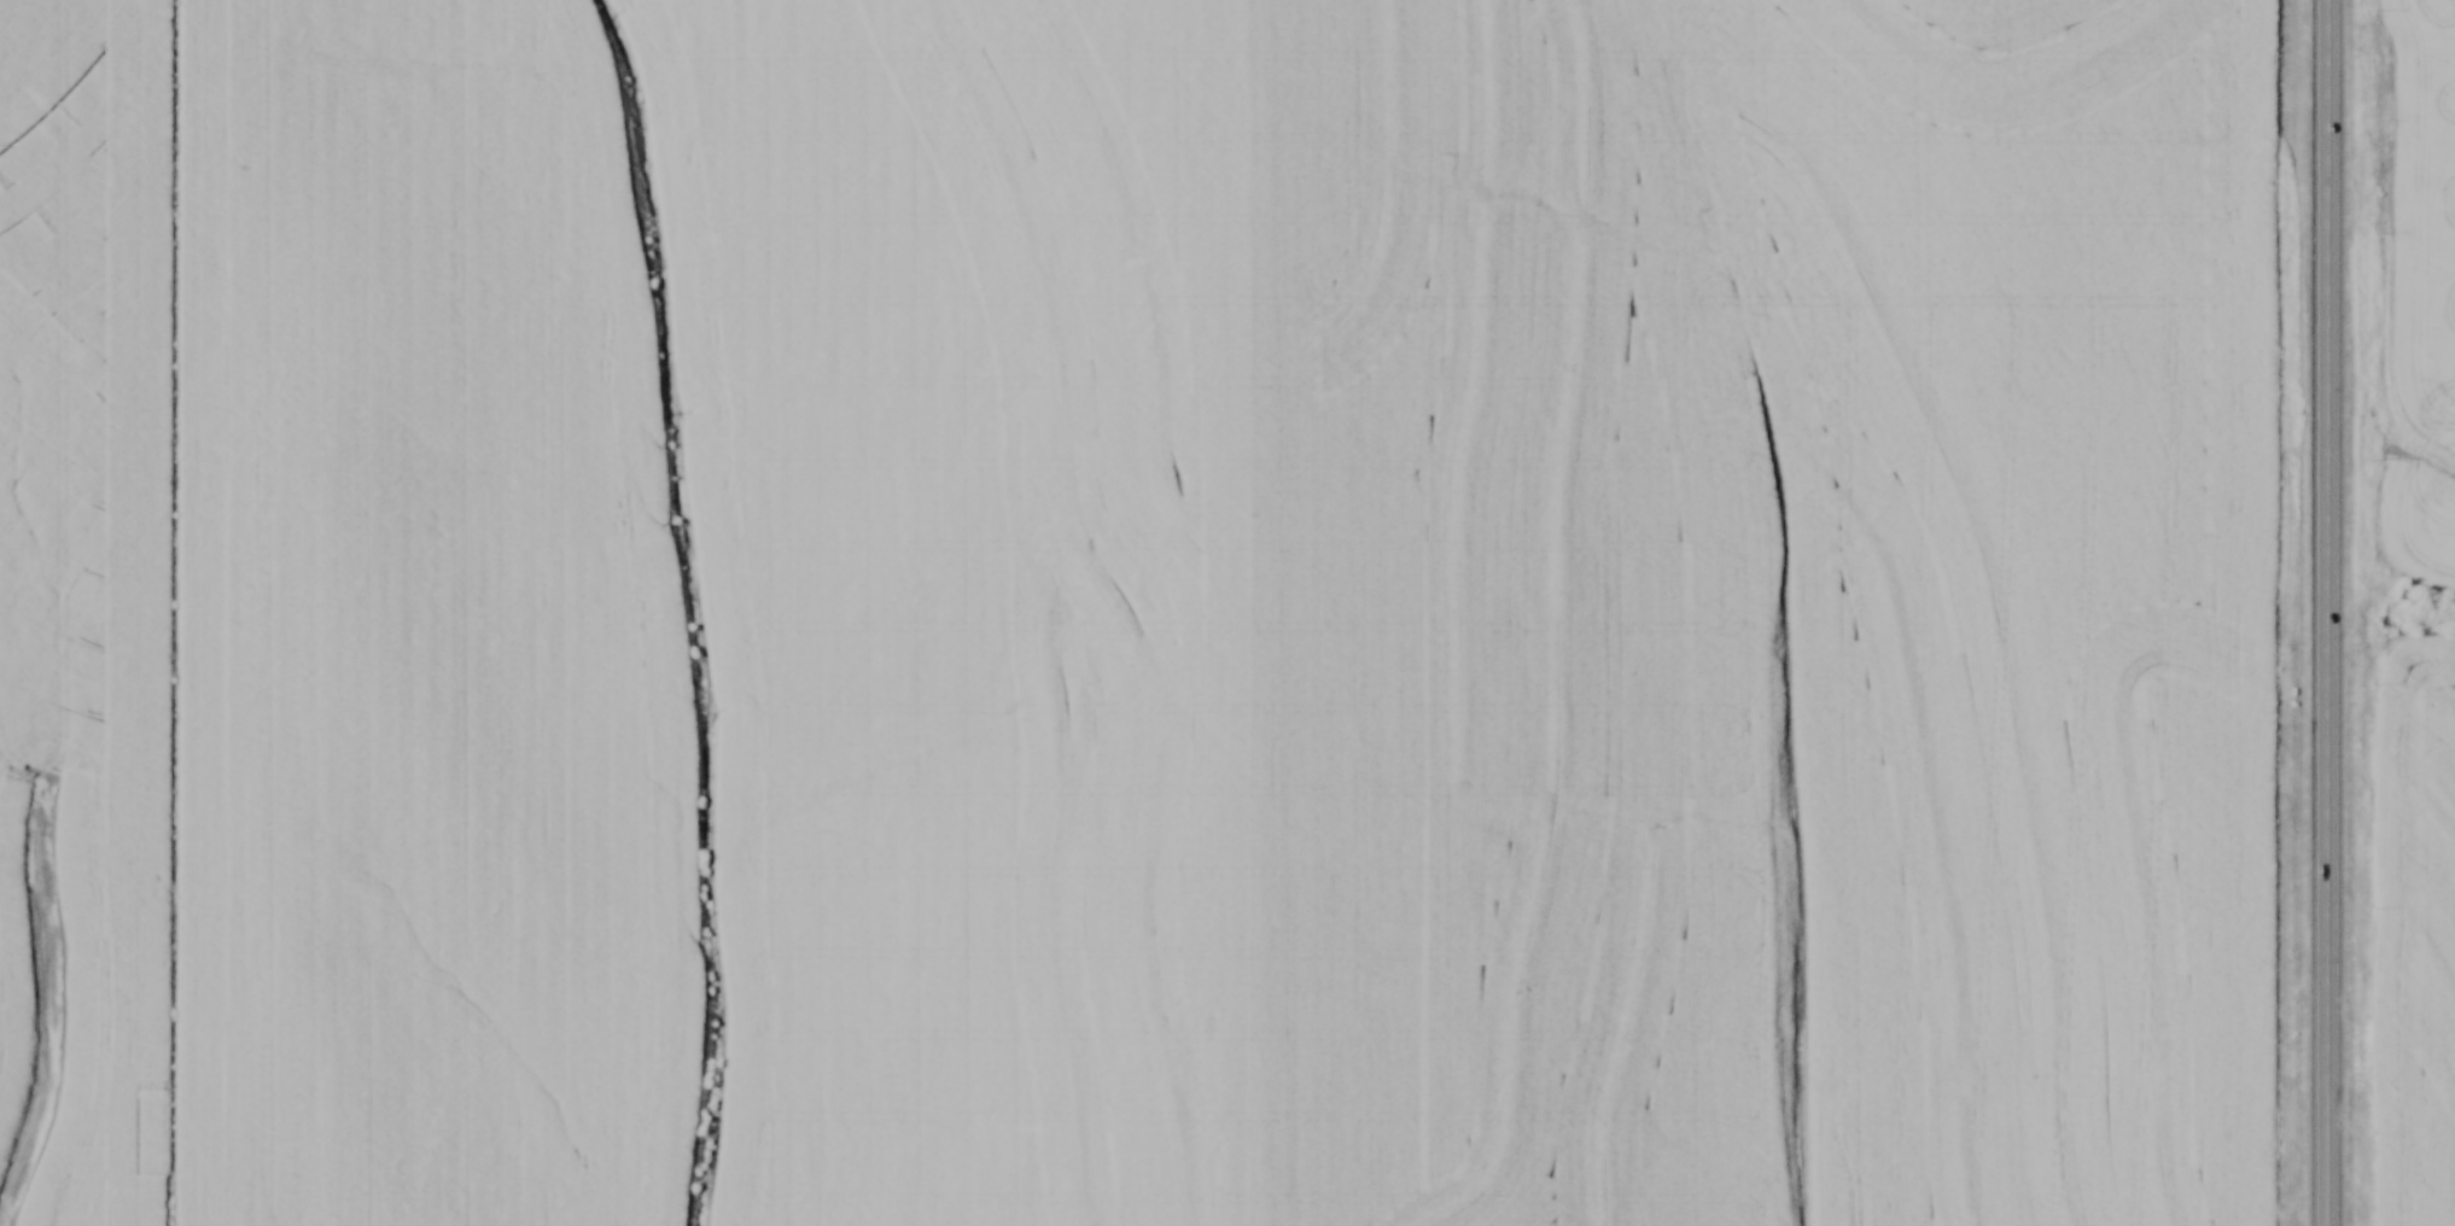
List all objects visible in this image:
road: (2326, 612)

